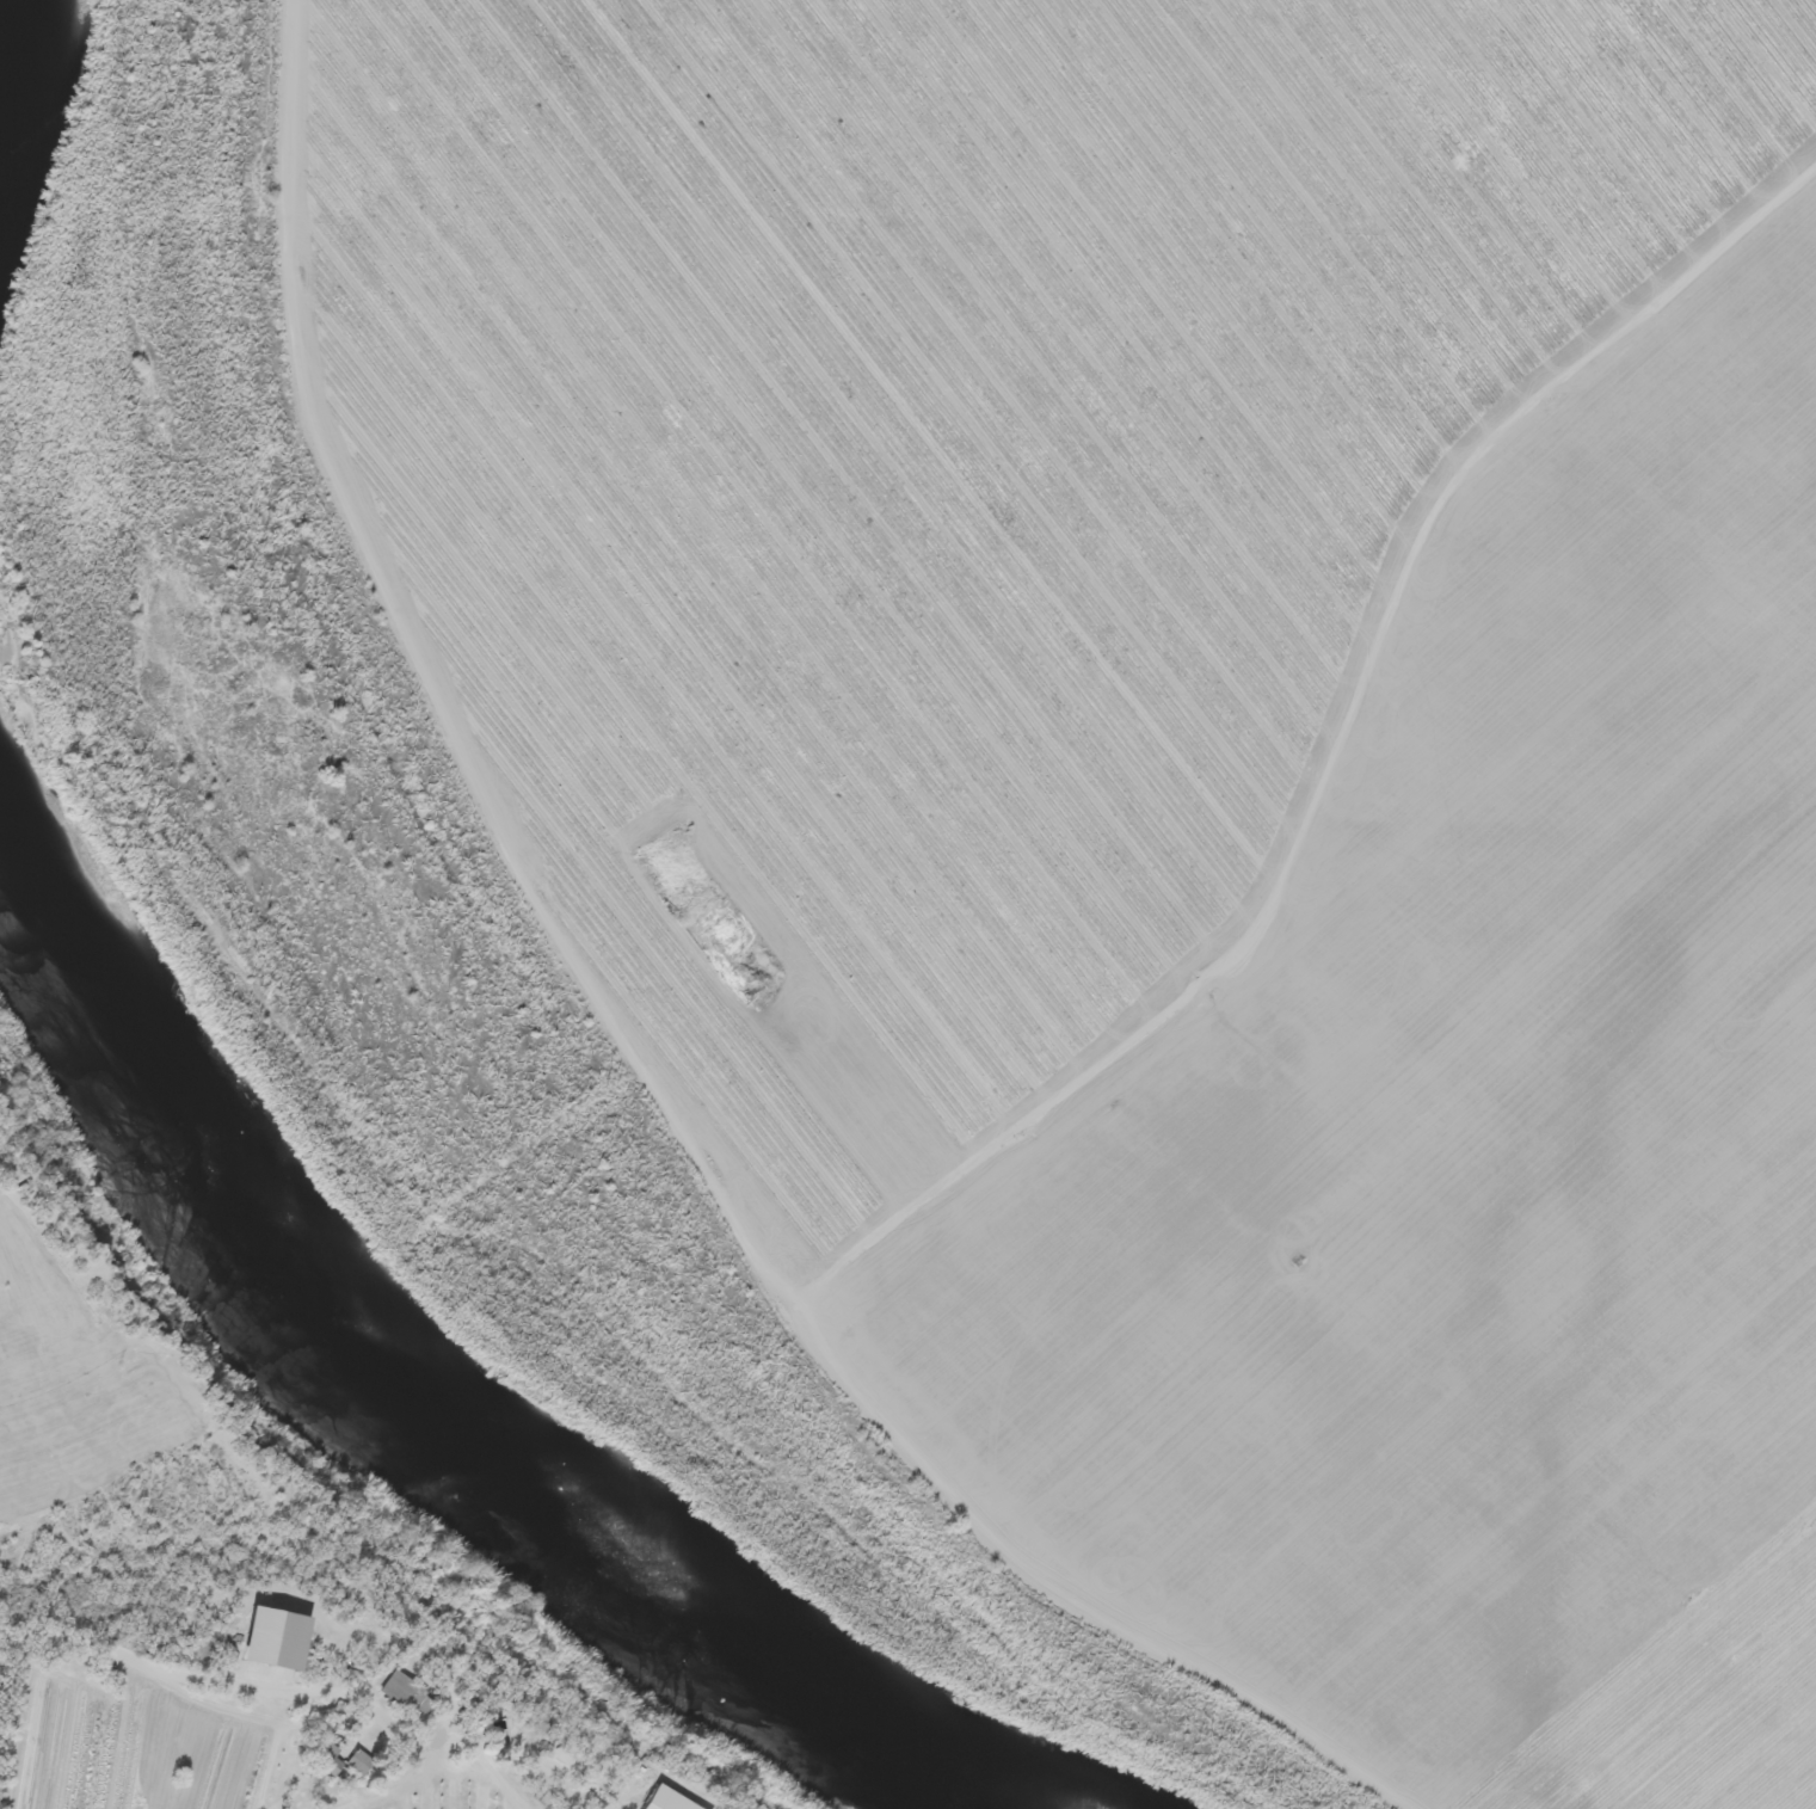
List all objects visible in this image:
river: (12, 39)
road: (1336, 770)
road: (621, 1046)
river: (455, 1452)
building: (399, 1702)
building: (490, 1730)
building: (321, 1767)
building: (350, 1767)

